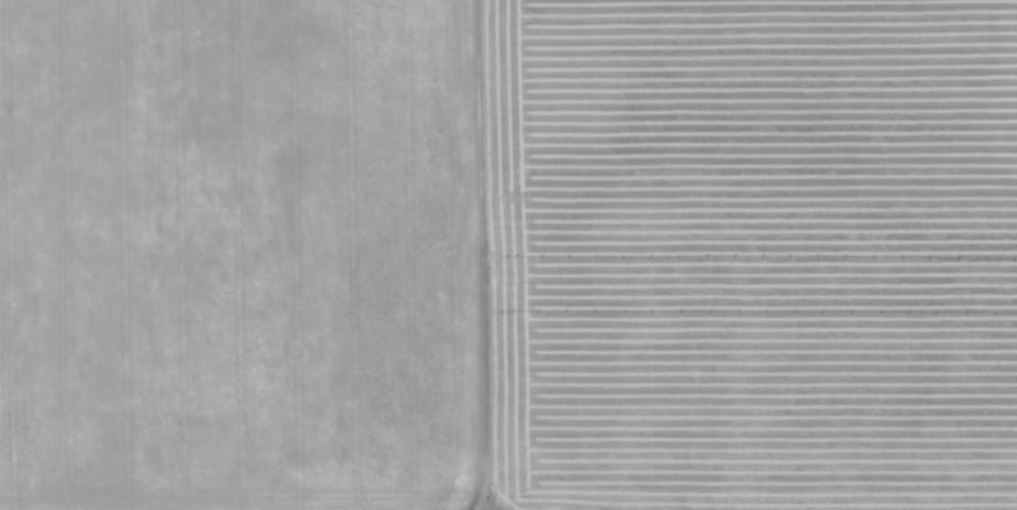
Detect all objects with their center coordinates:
crop: (508, 255)

